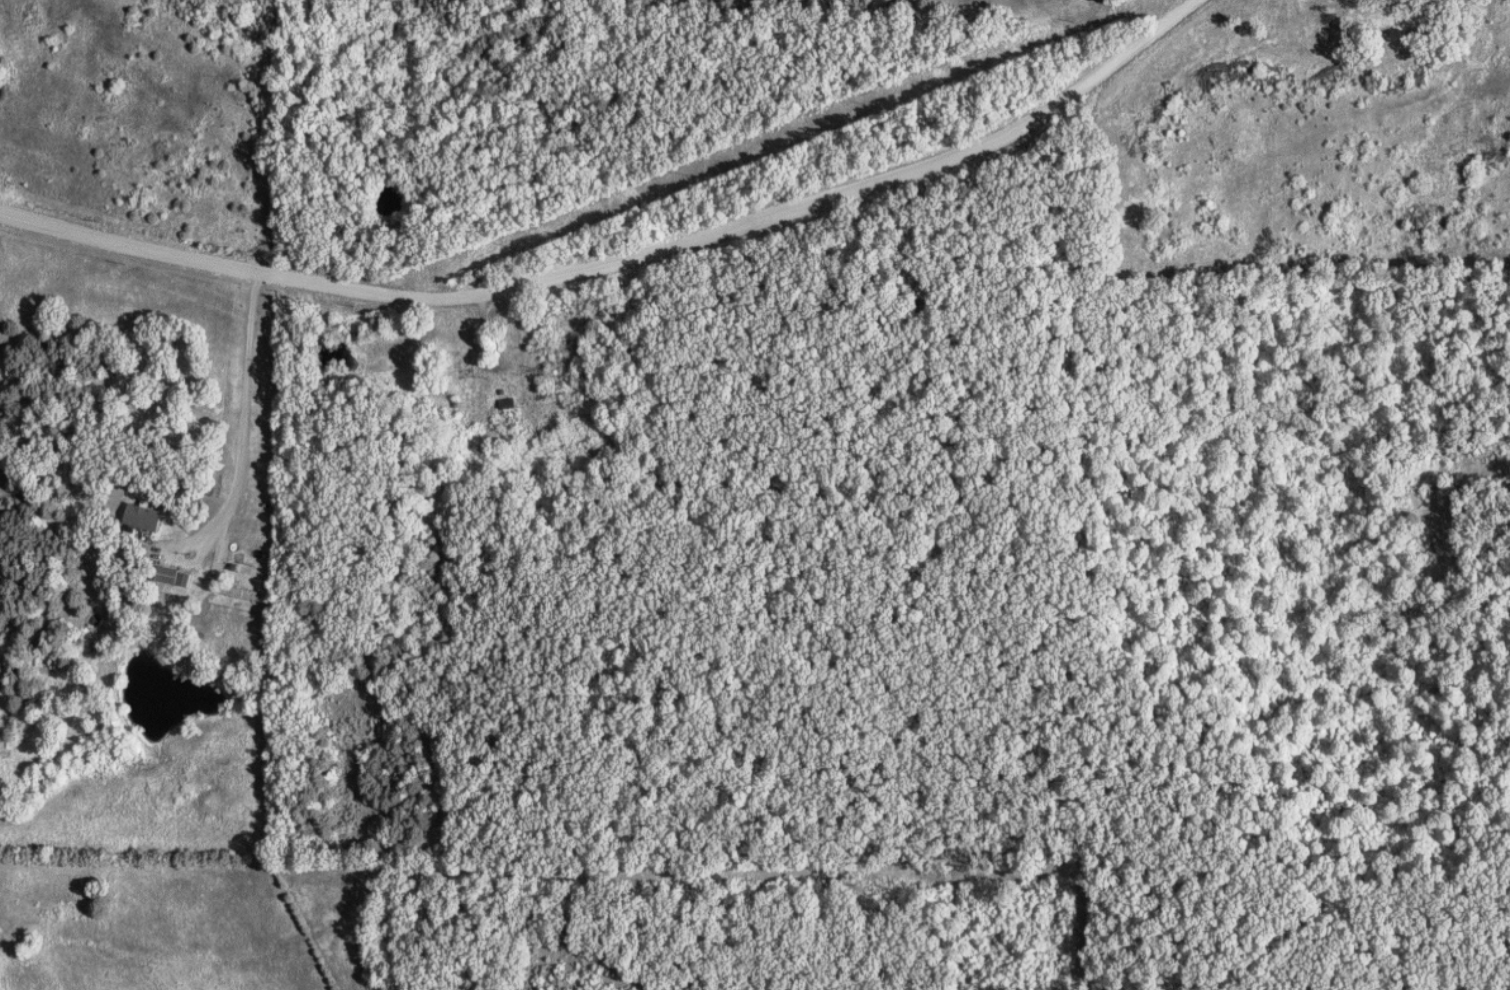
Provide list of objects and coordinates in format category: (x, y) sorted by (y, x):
road: (625, 263)
road: (248, 438)
building: (148, 518)
building: (177, 577)
building: (246, 593)

